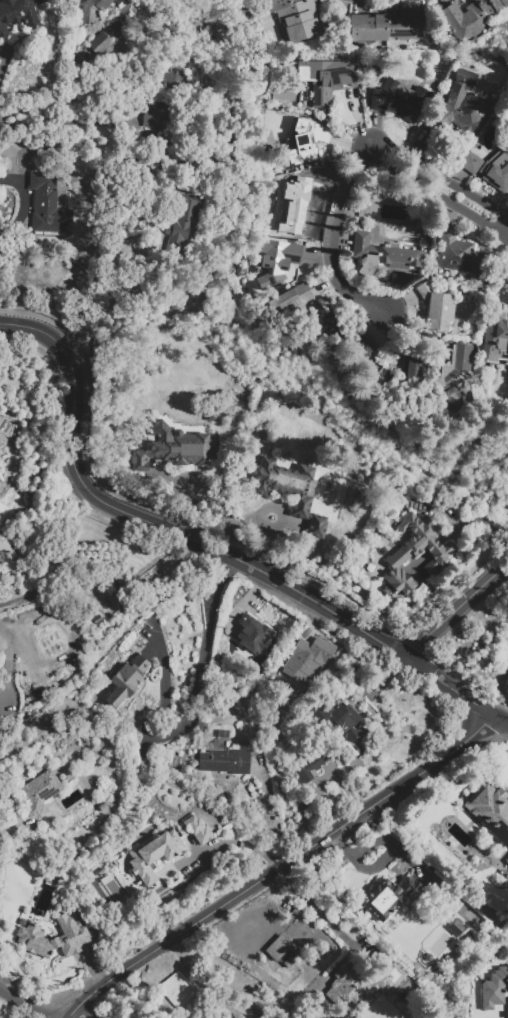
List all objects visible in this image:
building: (95, 8)
building: (17, 13)
building: (468, 15)
building: (296, 20)
building: (389, 25)
building: (98, 40)
road: (3, 56)
building: (324, 79)
building: (399, 99)
building: (463, 106)
building: (507, 109)
building: (159, 112)
road: (65, 121)
building: (302, 141)
road: (382, 149)
building: (489, 169)
road: (453, 181)
road: (451, 197)
building: (293, 204)
building: (48, 205)
building: (184, 218)
road: (506, 231)
road: (331, 233)
building: (382, 254)
building: (459, 254)
building: (277, 260)
road: (96, 297)
building: (293, 297)
building: (436, 305)
building: (496, 339)
building: (362, 347)
building: (410, 366)
building: (456, 372)
building: (212, 413)
building: (178, 448)
building: (285, 482)
building: (350, 496)
road: (147, 521)
building: (317, 526)
building: (416, 551)
road: (455, 607)
building: (253, 634)
building: (227, 637)
building: (299, 645)
road: (470, 649)
building: (321, 650)
road: (504, 650)
road: (439, 652)
building: (279, 670)
building: (126, 680)
road: (456, 687)
road: (497, 689)
road: (193, 700)
building: (346, 721)
building: (225, 762)
building: (310, 767)
building: (41, 792)
building: (103, 806)
building: (491, 810)
building: (198, 829)
road: (232, 842)
building: (153, 855)
building: (507, 860)
road: (277, 866)
building: (390, 897)
road: (319, 914)
building: (455, 926)
building: (76, 933)
building: (277, 947)
road: (204, 983)
building: (379, 986)
building: (494, 988)
road: (27, 1004)
building: (257, 1007)
road: (85, 1008)

